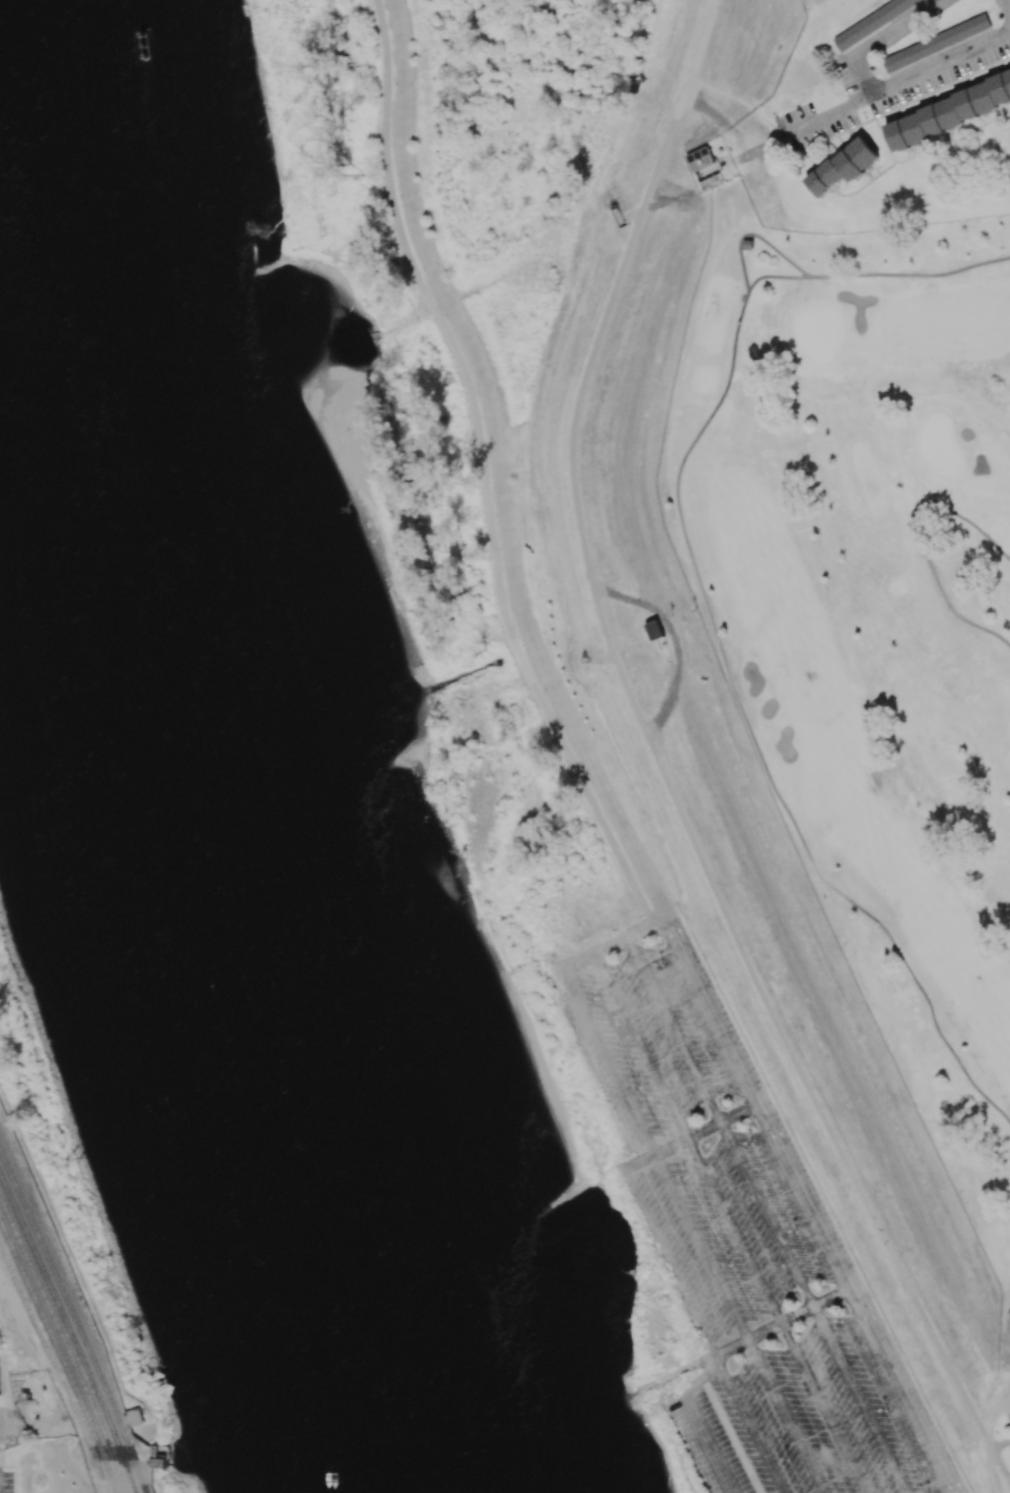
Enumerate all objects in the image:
road: (1007, 6)
building: (872, 21)
road: (883, 40)
building: (936, 43)
road: (941, 63)
road: (827, 116)
road: (720, 121)
road: (770, 143)
road: (740, 158)
road: (758, 165)
building: (843, 166)
building: (705, 172)
building: (617, 218)
road: (755, 235)
building: (749, 247)
road: (876, 274)
road: (498, 469)
road: (482, 476)
road: (921, 537)
park: (870, 623)
building: (651, 632)
road: (672, 641)
building: (586, 657)
road: (752, 736)
river: (199, 764)
road: (659, 764)
road: (647, 931)
road: (611, 949)
road: (579, 966)
road: (710, 1014)
road: (674, 1032)
road: (641, 1048)
road: (609, 1064)
road: (704, 1130)
road: (638, 1163)
road: (766, 1215)
road: (734, 1231)
parking lot: (747, 1244)
road: (701, 1248)
road: (850, 1300)
railway: (76, 1319)
road: (781, 1324)
railway: (70, 1331)
road: (703, 1331)
railway: (65, 1343)
railway: (60, 1353)
railway: (56, 1370)
road: (859, 1400)
road: (823, 1408)
road: (786, 1417)
road: (696, 1421)
road: (726, 1425)
parking lot: (5, 1430)
road: (993, 1471)
parking lot: (6, 1479)
railway: (145, 1492)
railway: (145, 1492)

